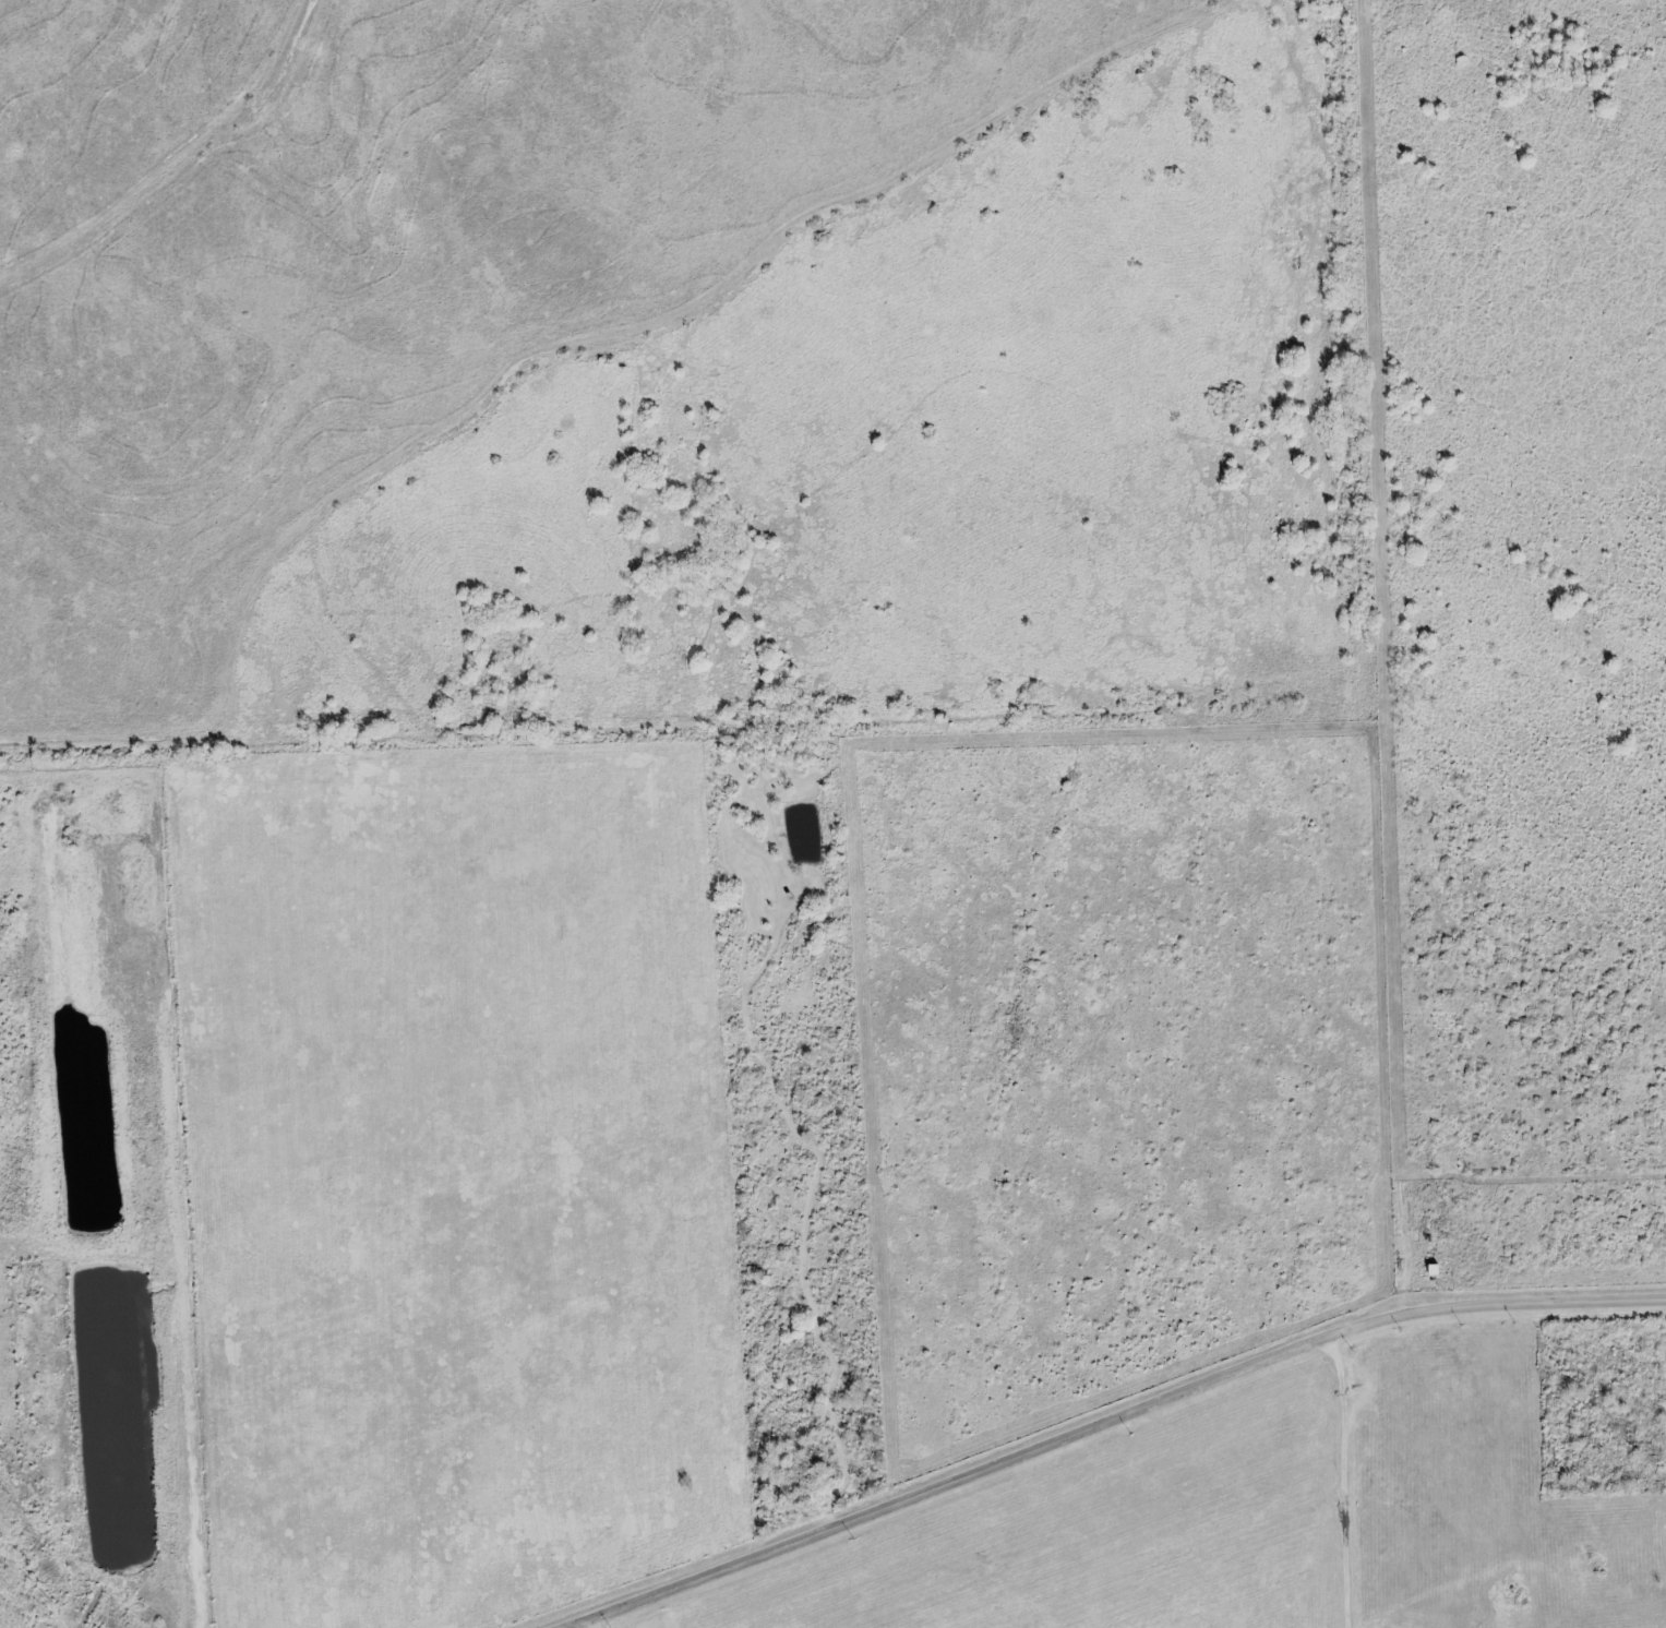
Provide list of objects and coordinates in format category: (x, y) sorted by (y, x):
road: (1116, 1423)
road: (1343, 1482)
road: (596, 1626)

